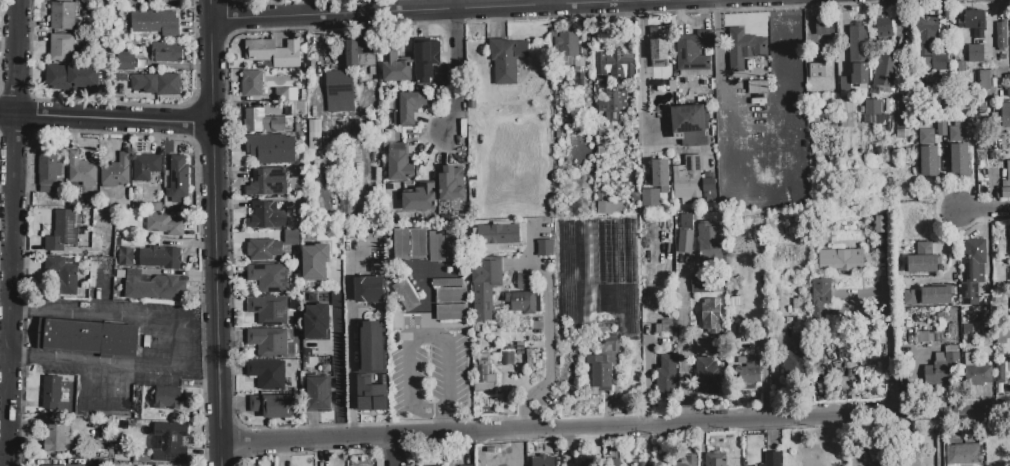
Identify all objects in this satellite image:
building: (148, 0)
building: (161, 1)
road: (554, 3)
road: (458, 11)
building: (63, 15)
building: (973, 19)
building: (152, 23)
building: (883, 25)
building: (825, 26)
building: (927, 34)
building: (978, 34)
building: (1001, 34)
building: (658, 43)
building: (566, 44)
building: (61, 47)
building: (744, 48)
building: (260, 50)
building: (694, 51)
building: (858, 51)
building: (165, 52)
building: (974, 53)
building: (358, 54)
building: (506, 59)
building: (424, 60)
building: (125, 62)
building: (926, 63)
building: (965, 66)
building: (395, 67)
building: (816, 70)
road: (460, 72)
building: (886, 72)
building: (854, 76)
building: (71, 77)
building: (121, 78)
road: (642, 78)
building: (983, 80)
building: (339, 82)
building: (157, 84)
building: (252, 84)
building: (606, 84)
building: (1008, 85)
building: (758, 86)
building: (121, 89)
building: (288, 94)
building: (340, 103)
building: (982, 107)
building: (299, 108)
building: (407, 108)
building: (872, 112)
building: (846, 113)
building: (1005, 115)
building: (903, 117)
road: (107, 119)
building: (262, 122)
building: (689, 124)
building: (940, 127)
building: (300, 129)
building: (314, 134)
building: (956, 134)
building: (926, 137)
building: (272, 149)
building: (959, 159)
building: (929, 161)
building: (49, 165)
building: (146, 166)
building: (399, 166)
building: (80, 169)
building: (117, 171)
building: (660, 174)
building: (179, 179)
building: (688, 179)
building: (267, 182)
building: (451, 183)
building: (1006, 183)
building: (709, 187)
building: (420, 198)
building: (651, 199)
building: (154, 207)
building: (609, 207)
road: (984, 210)
building: (267, 215)
building: (880, 222)
building: (163, 225)
road: (14, 232)
building: (62, 232)
building: (1009, 232)
road: (217, 233)
building: (498, 234)
building: (685, 234)
building: (709, 237)
building: (400, 245)
building: (418, 245)
building: (272, 246)
building: (454, 247)
building: (545, 248)
building: (436, 249)
building: (597, 252)
building: (125, 256)
building: (160, 257)
building: (841, 259)
building: (923, 259)
building: (315, 261)
building: (973, 271)
building: (62, 275)
building: (269, 277)
building: (526, 282)
building: (707, 284)
building: (153, 287)
building: (485, 287)
building: (369, 289)
building: (451, 291)
building: (937, 294)
building: (821, 296)
building: (405, 297)
building: (911, 297)
building: (525, 302)
building: (268, 310)
building: (709, 313)
building: (453, 314)
building: (966, 321)
building: (317, 322)
building: (607, 326)
building: (985, 326)
building: (950, 329)
building: (89, 337)
building: (927, 337)
road: (416, 339)
building: (268, 342)
building: (613, 342)
road: (683, 342)
building: (372, 347)
building: (703, 347)
road: (184, 349)
road: (886, 350)
road: (550, 352)
road: (337, 355)
building: (798, 356)
building: (505, 357)
building: (969, 359)
building: (942, 369)
building: (267, 373)
building: (484, 373)
building: (1000, 373)
building: (600, 374)
building: (667, 374)
parking lot: (431, 375)
building: (979, 375)
building: (706, 376)
building: (748, 376)
road: (88, 386)
building: (51, 392)
building: (317, 393)
building: (372, 394)
building: (168, 397)
building: (272, 406)
road: (615, 428)
building: (57, 438)
road: (937, 439)
building: (170, 442)
road: (397, 452)
building: (882, 452)
building: (963, 455)
building: (825, 457)
building: (716, 458)
building: (771, 459)
building: (542, 461)
building: (686, 461)
building: (614, 462)
building: (571, 464)
building: (641, 464)
building: (54, 465)
building: (438, 465)
building: (468, 465)

